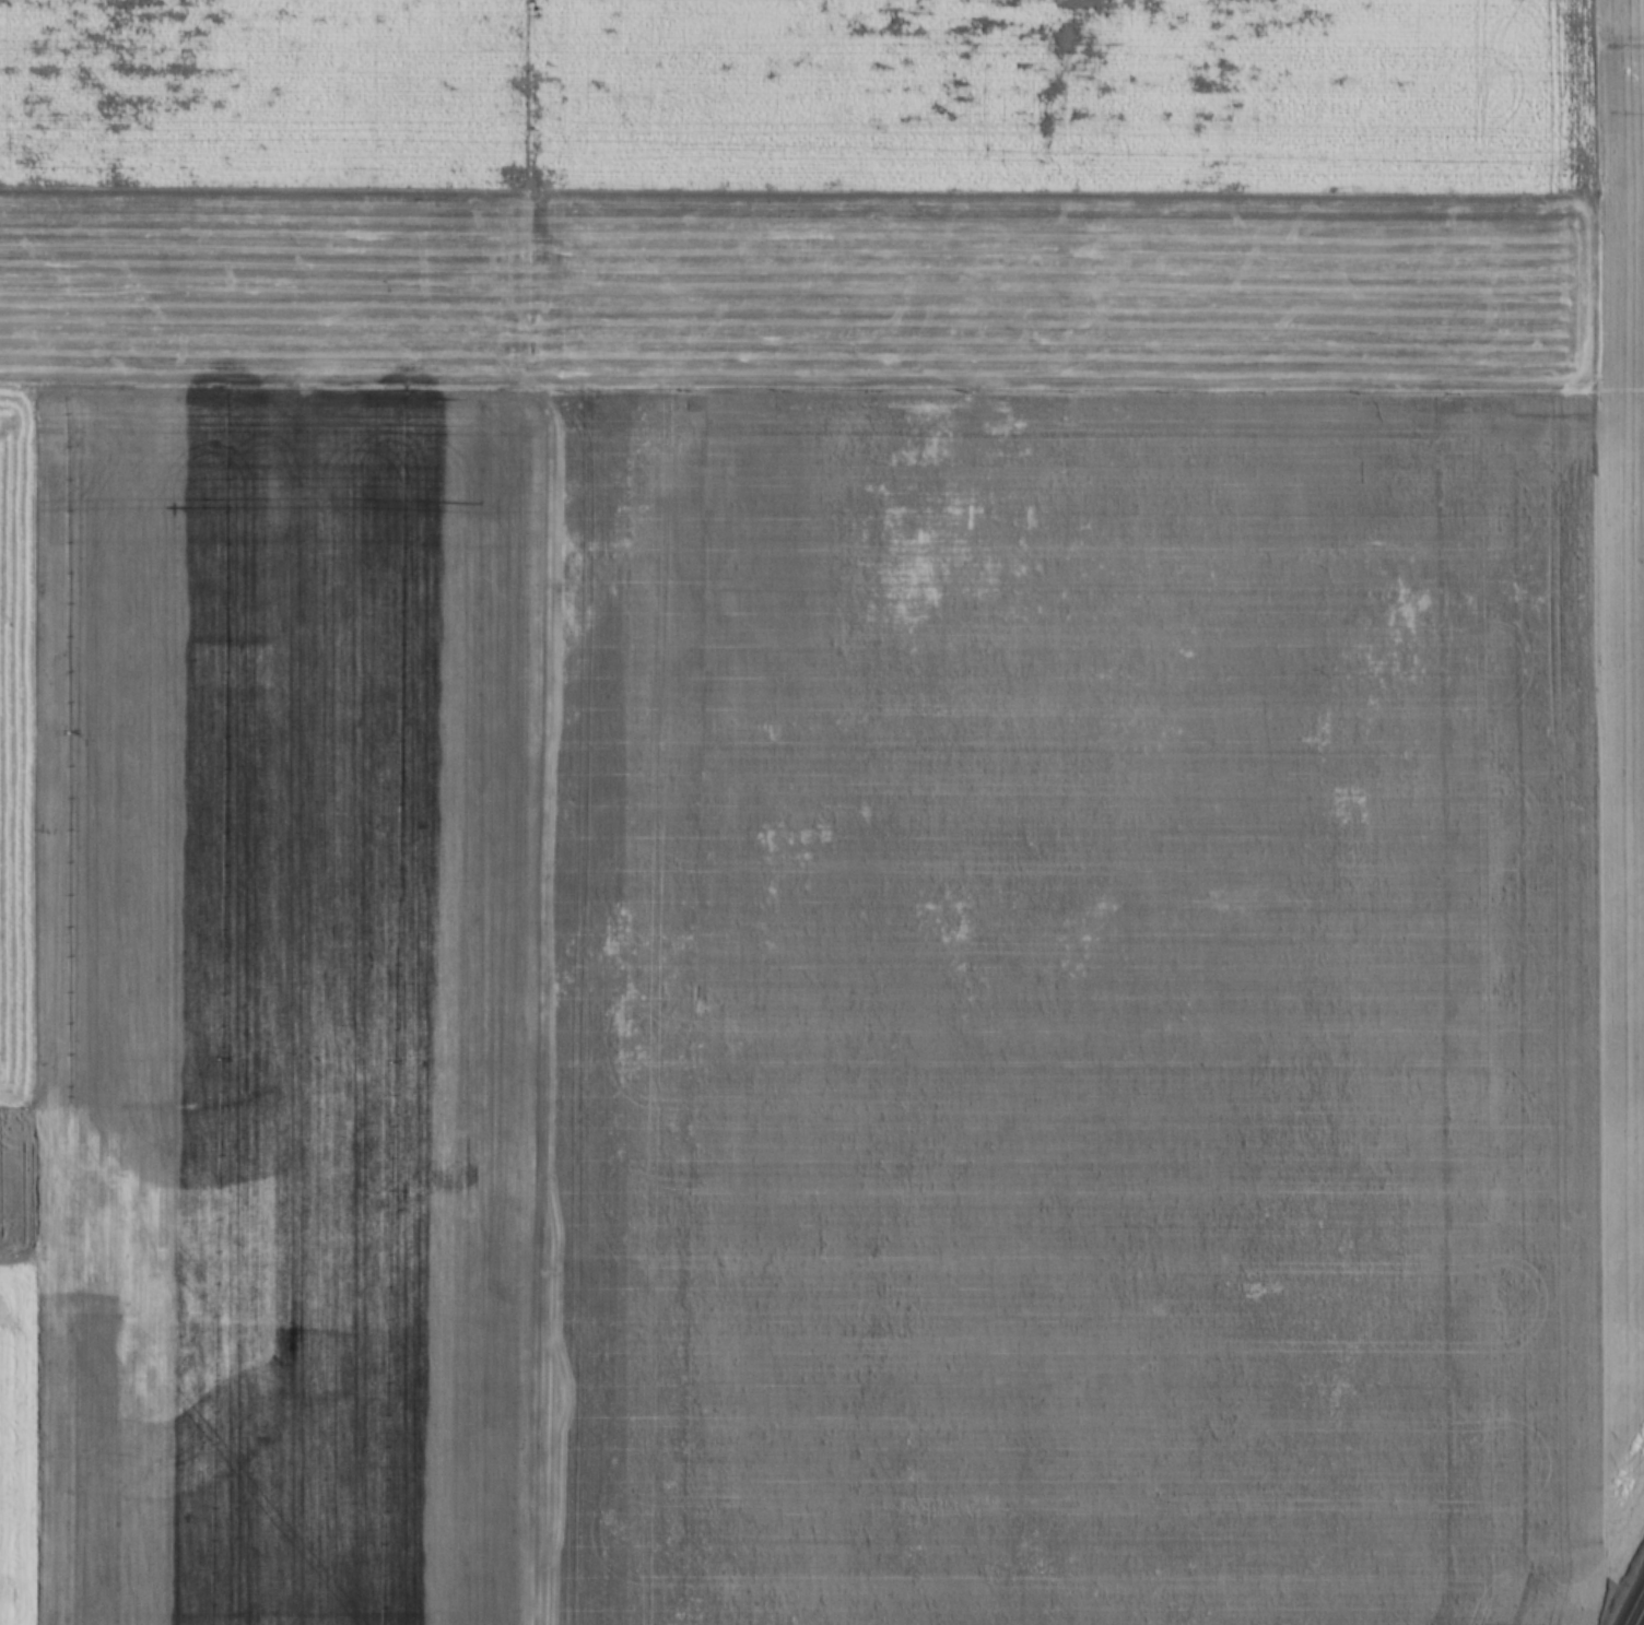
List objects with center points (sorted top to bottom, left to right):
building: (51, 749)
road: (1639, 1615)

